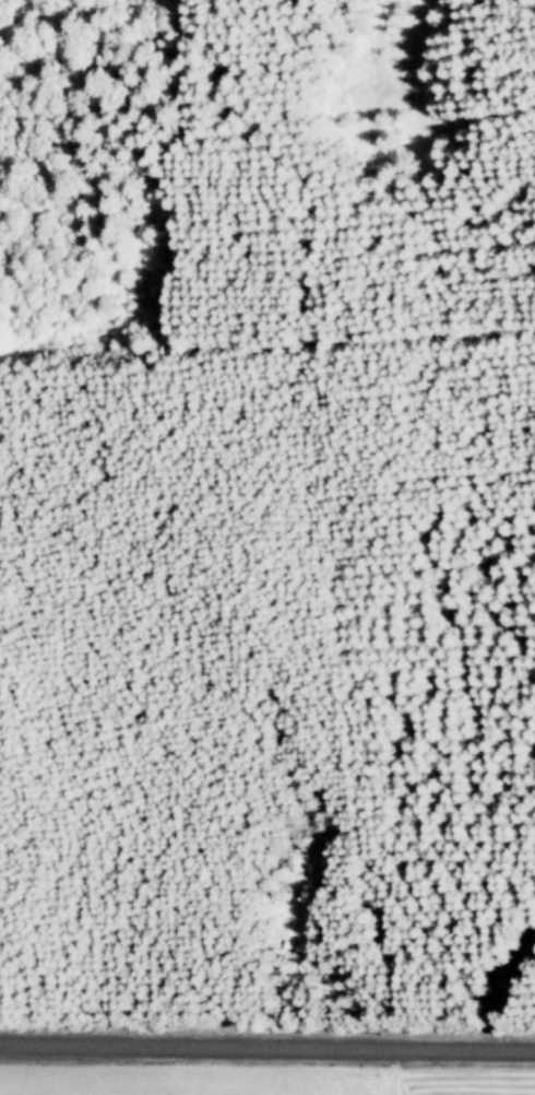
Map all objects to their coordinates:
road: (266, 1050)

